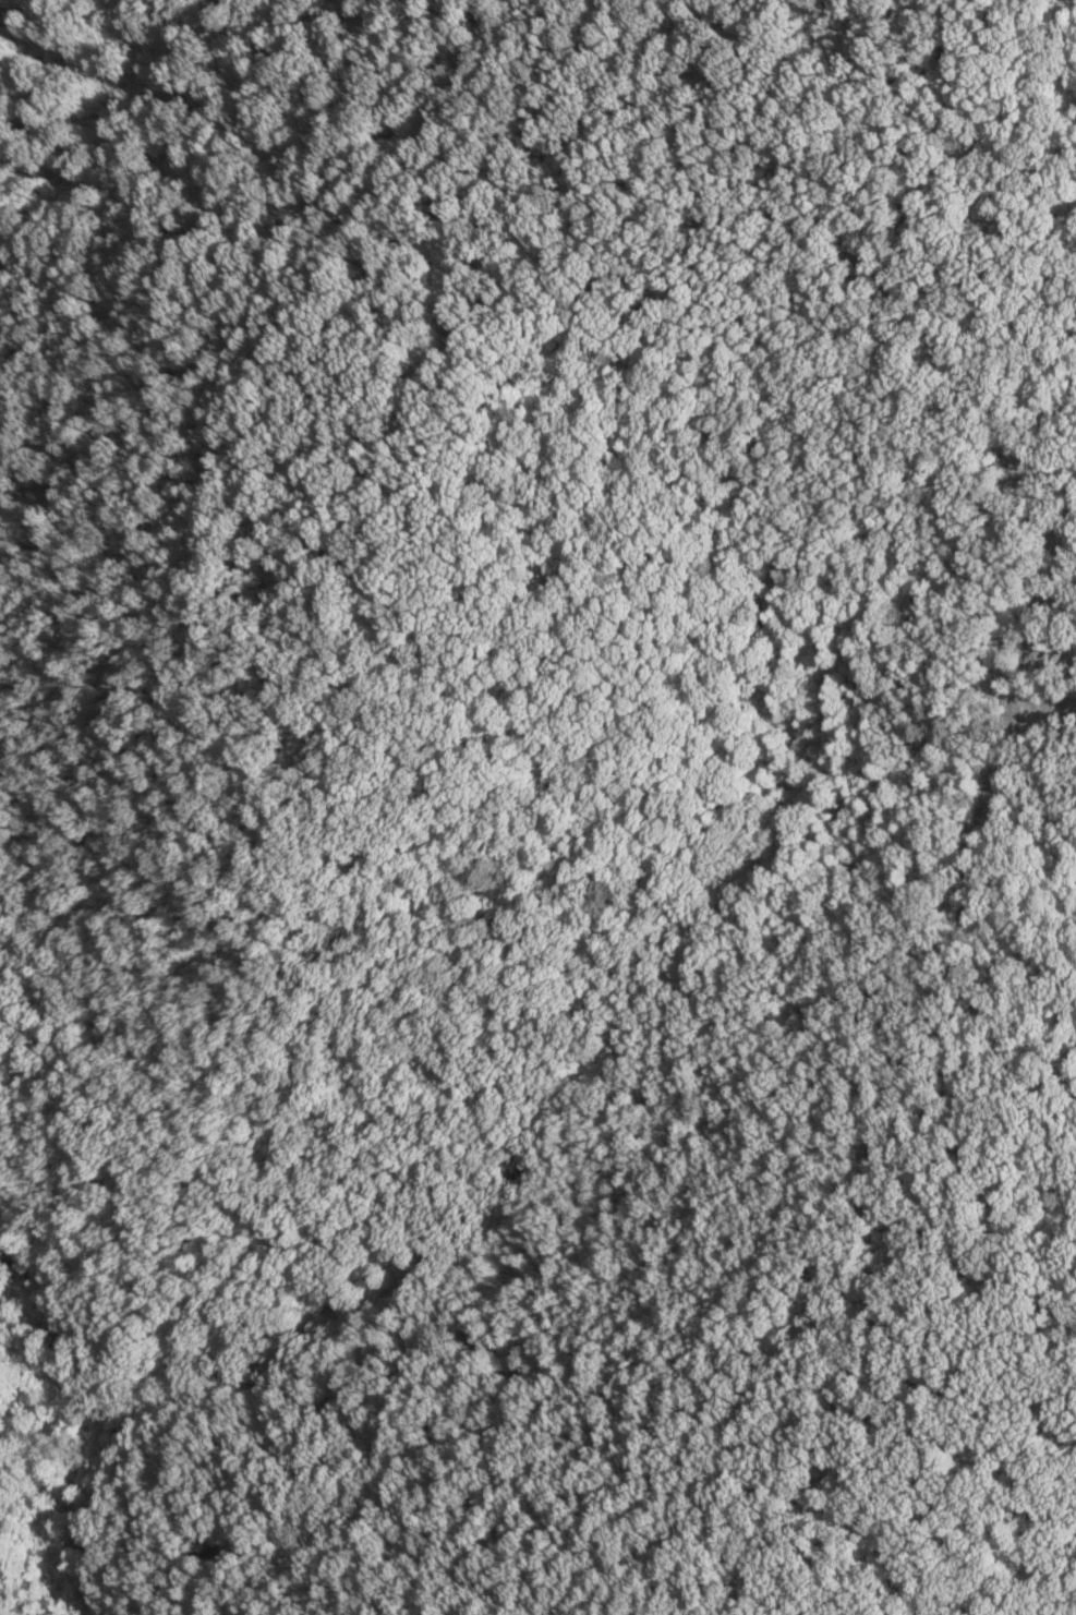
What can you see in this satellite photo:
road: (924, 1023)
road: (86, 1429)

